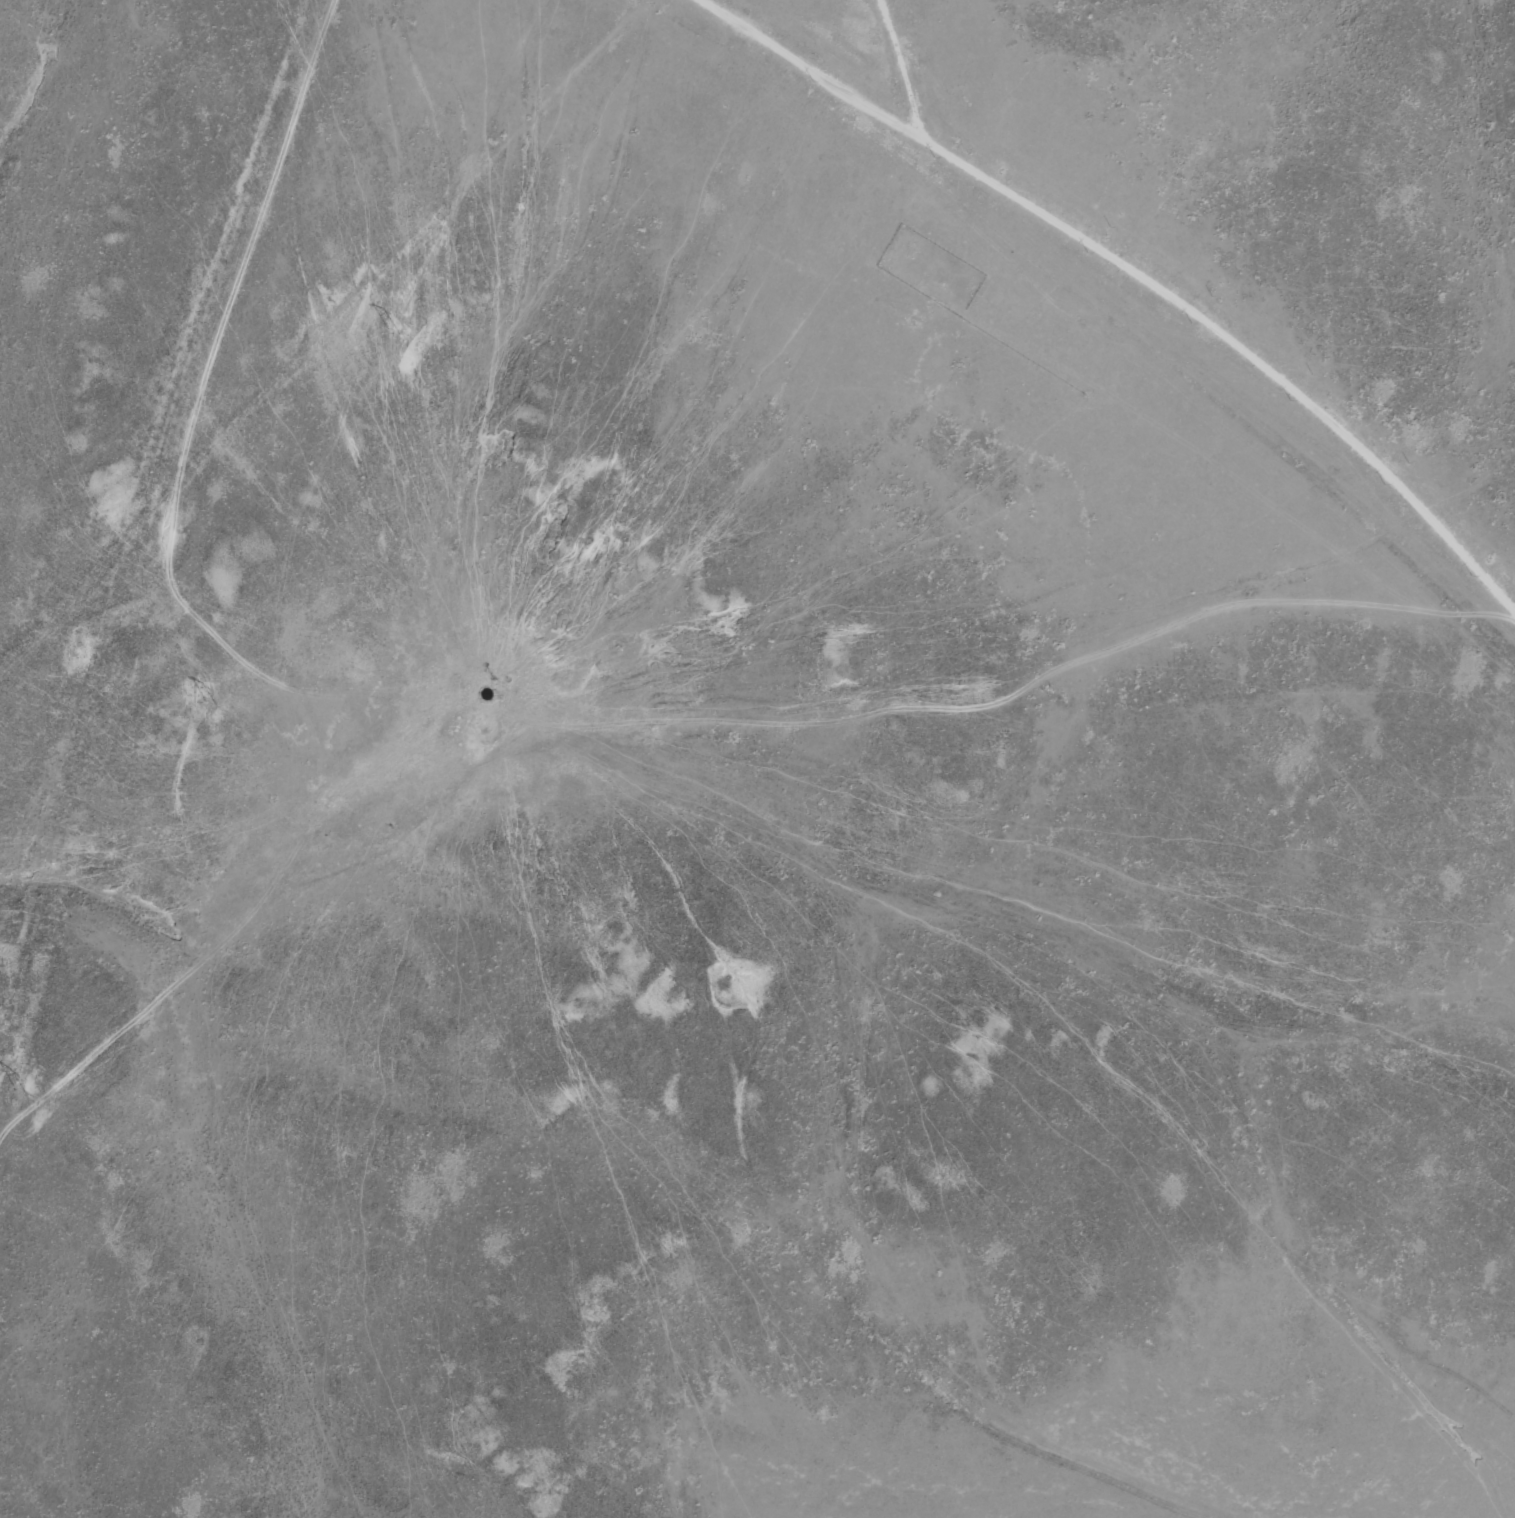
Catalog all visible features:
road: (733, 36)
road: (1084, 271)
power tower: (393, 333)
power tower: (209, 703)
road: (662, 831)
power tower: (18, 1090)

